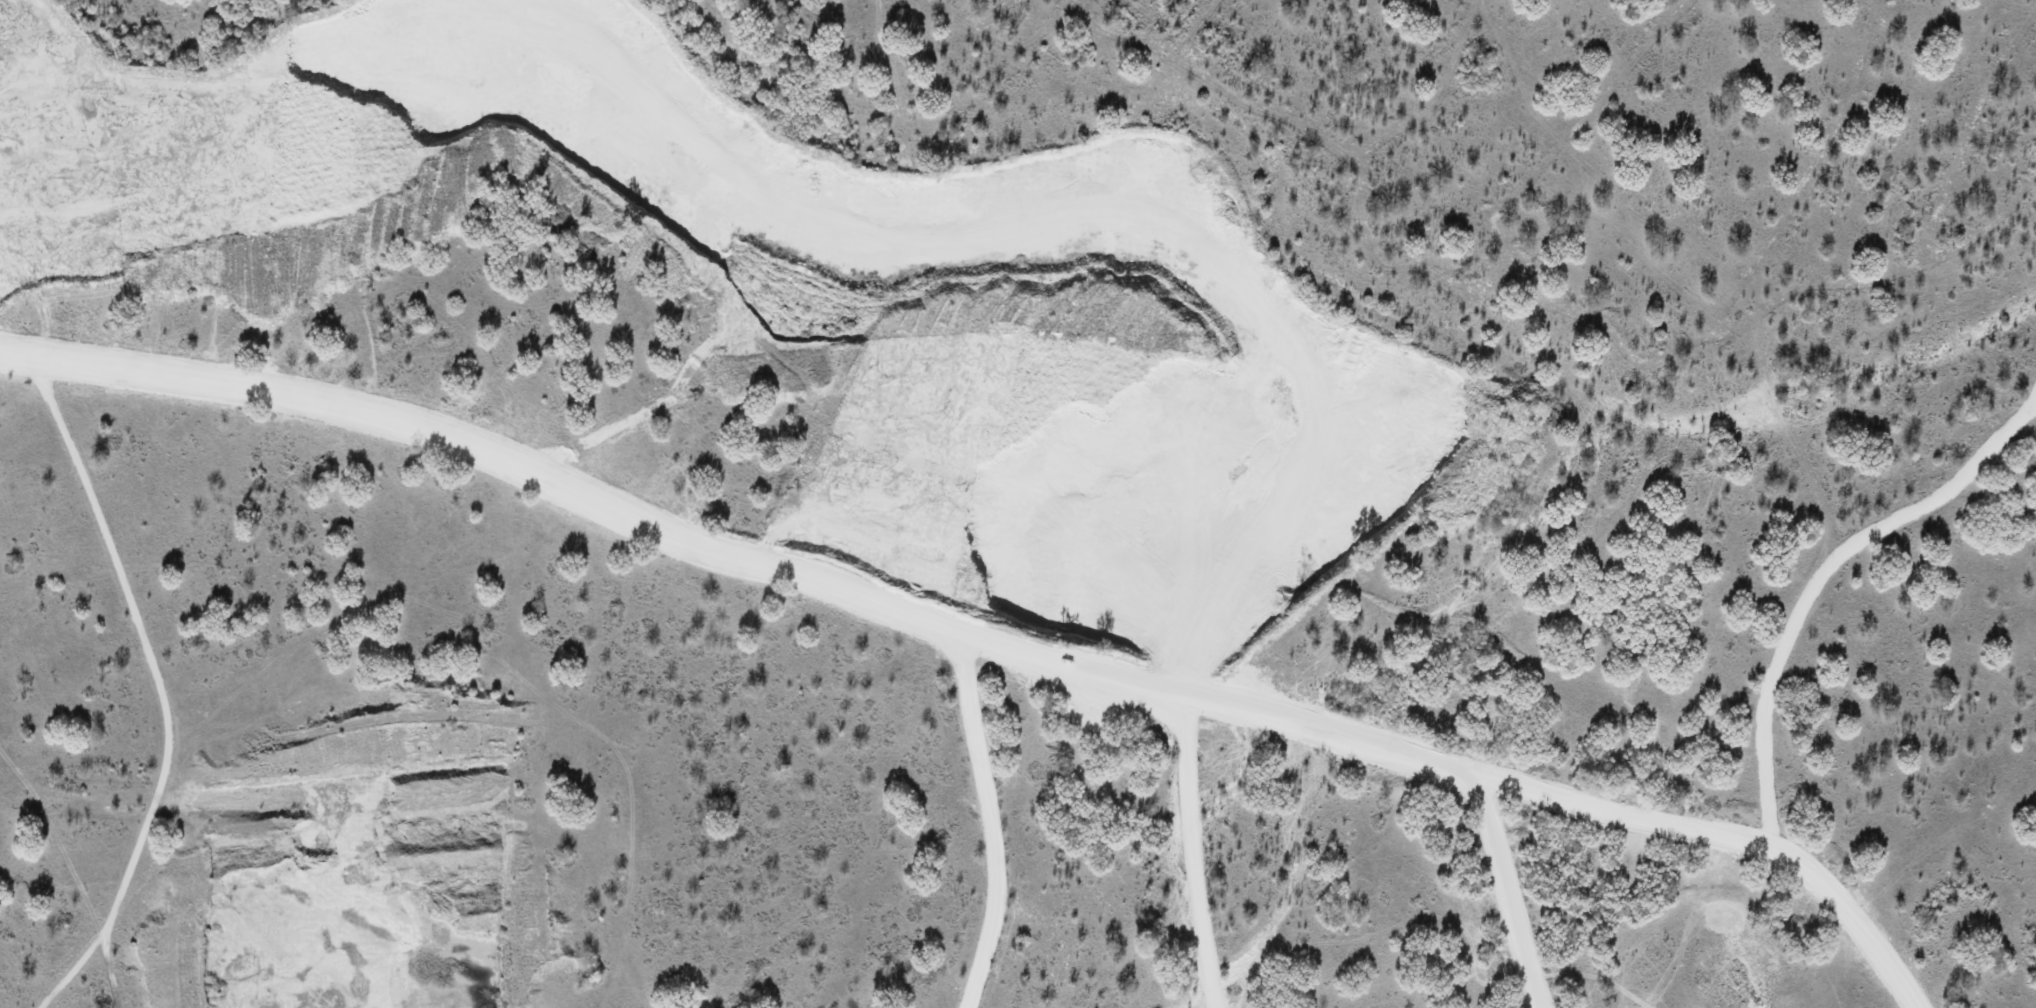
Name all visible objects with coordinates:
road: (878, 613)
road: (994, 828)
road: (1192, 855)
road: (1506, 890)
road: (1847, 921)

